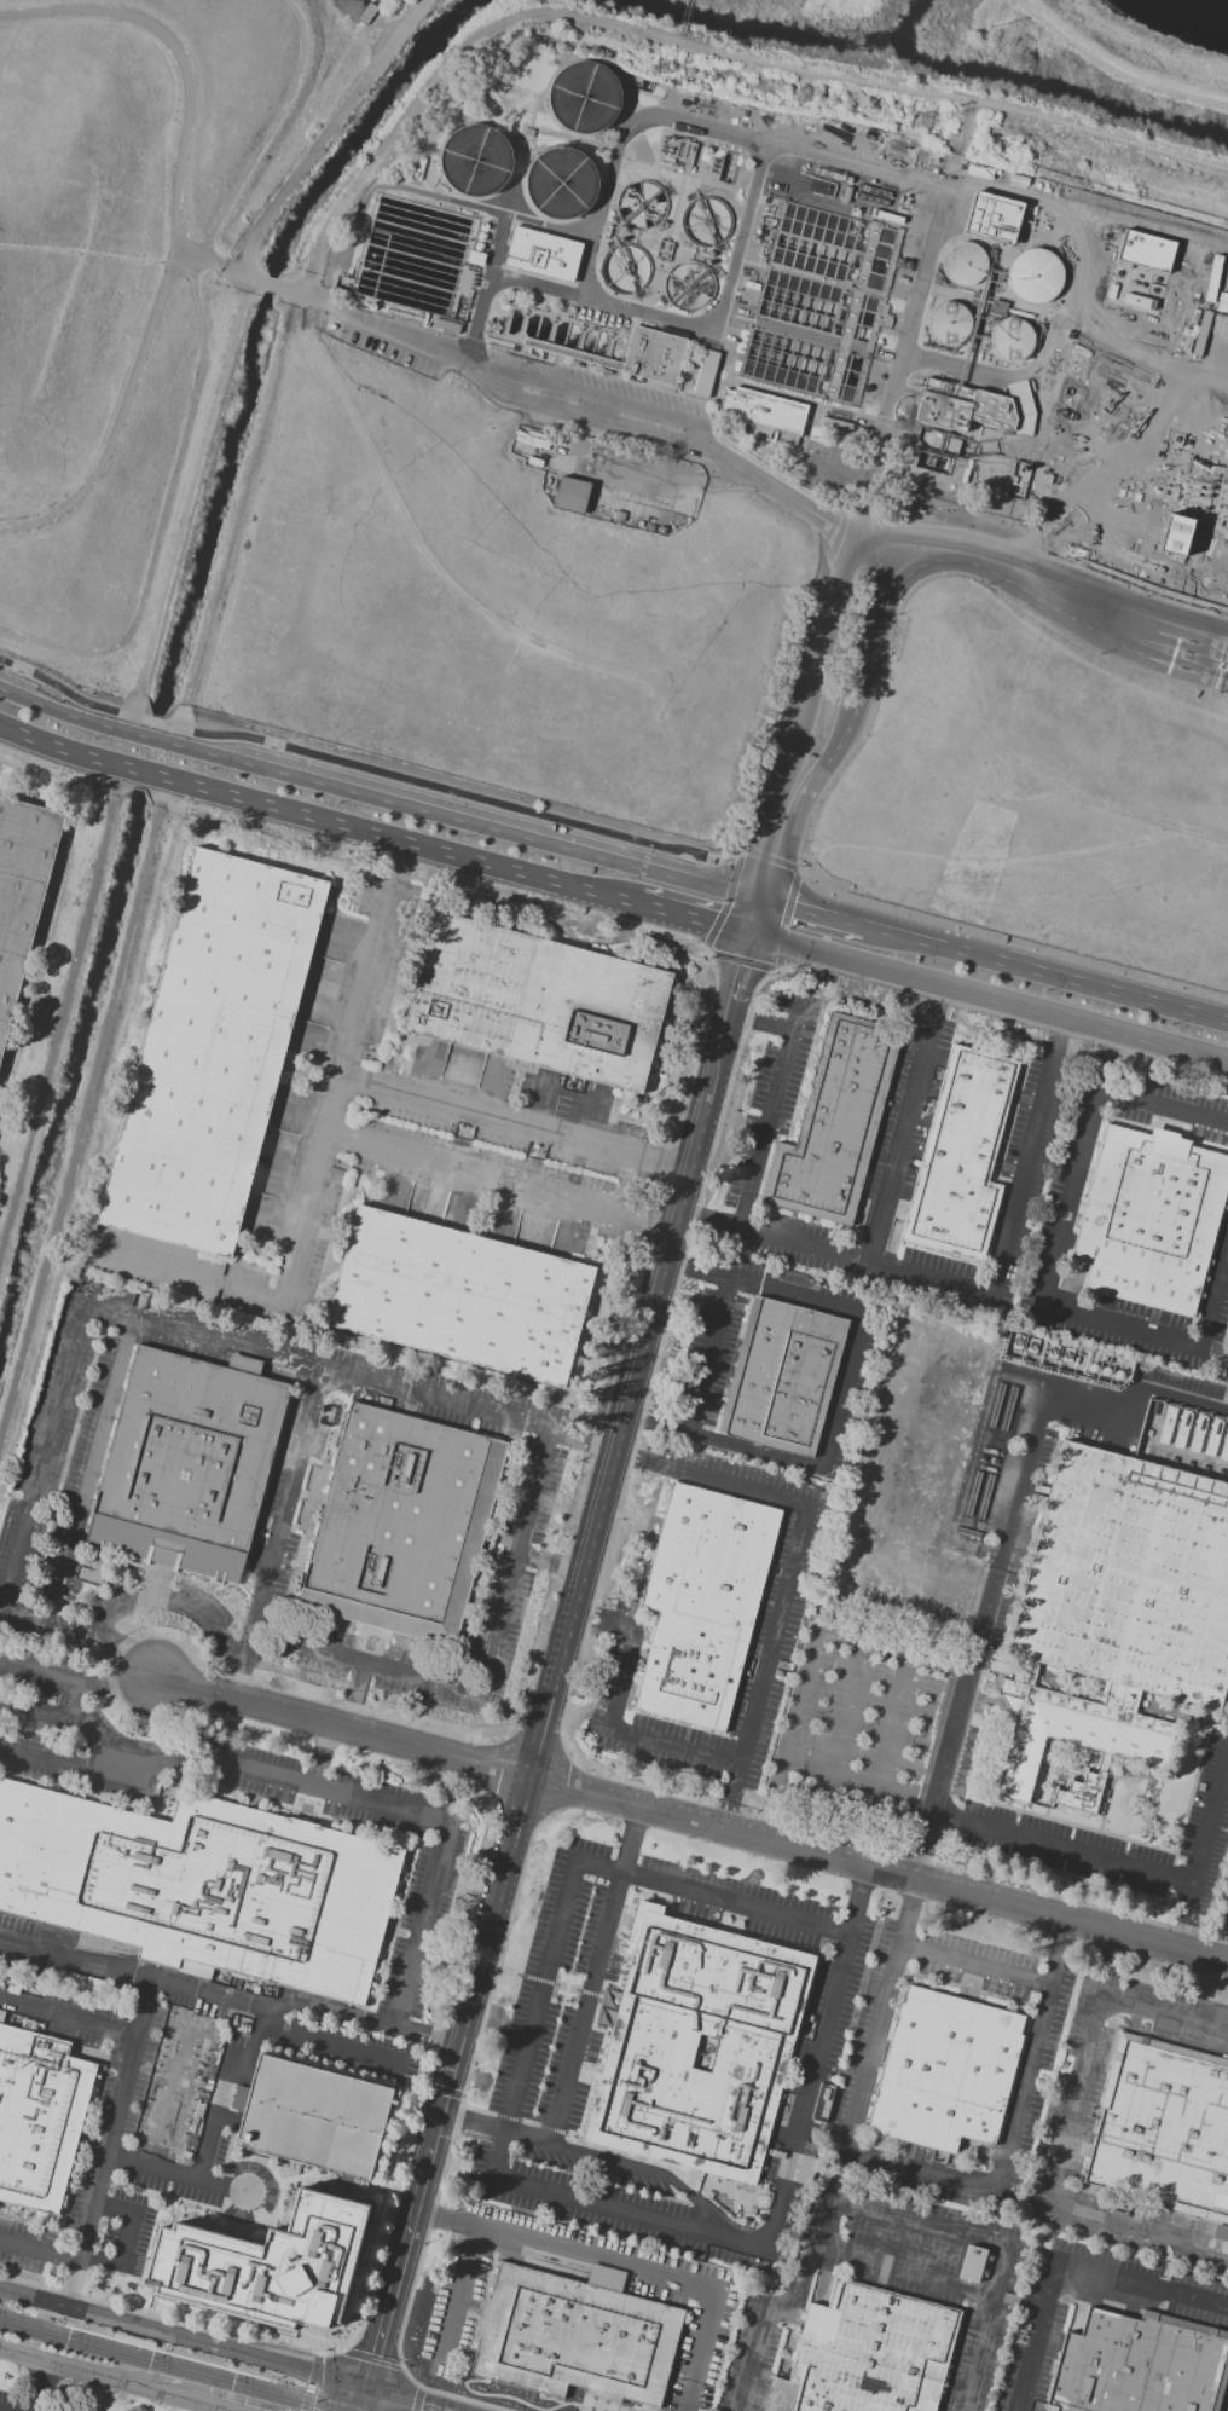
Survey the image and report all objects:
road: (693, 45)
road: (180, 60)
road: (1118, 68)
power tower: (928, 125)
road: (331, 132)
building: (848, 139)
building: (898, 155)
road: (247, 158)
road: (868, 167)
building: (994, 218)
building: (697, 229)
road: (500, 232)
road: (572, 233)
road: (86, 248)
building: (1143, 250)
building: (543, 254)
road: (183, 262)
building: (963, 264)
storage tank: (963, 264)
road: (254, 274)
building: (1033, 276)
storage tank: (1033, 276)
road: (270, 284)
road: (292, 294)
wastewater plant: (832, 296)
road: (320, 306)
building: (948, 324)
storage tank: (948, 324)
road: (694, 325)
road: (1053, 328)
road: (400, 335)
building: (1010, 342)
storage tank: (1010, 342)
building: (633, 354)
parking lot: (392, 359)
road: (968, 369)
building: (705, 371)
road: (593, 394)
building: (974, 406)
building: (760, 411)
road: (583, 415)
road: (115, 421)
road: (937, 449)
road: (838, 470)
road: (661, 475)
building: (570, 496)
road: (190, 498)
road: (236, 516)
road: (163, 520)
road: (858, 537)
landfill: (537, 547)
road: (421, 550)
road: (871, 568)
road: (1032, 578)
road: (822, 648)
road: (1157, 654)
road: (129, 666)
road: (857, 695)
road: (63, 704)
road: (157, 732)
road: (58, 750)
road: (376, 770)
road: (145, 775)
road: (471, 816)
road: (771, 823)
road: (401, 845)
traffic signals: (761, 852)
road: (401, 863)
building: (19, 894)
traffic signals: (794, 902)
road: (812, 906)
road: (751, 914)
road: (688, 921)
traffic signals: (712, 927)
traffic signals: (745, 937)
traffic signals: (737, 966)
road: (736, 967)
road: (1048, 967)
road: (986, 999)
building: (535, 1001)
road: (937, 1001)
road: (758, 1021)
road: (1059, 1035)
building: (210, 1052)
road: (1101, 1058)
road: (81, 1106)
road: (329, 1109)
road: (767, 1115)
road: (1084, 1124)
building: (835, 1126)
road: (899, 1137)
building: (958, 1157)
road: (1026, 1166)
road: (705, 1220)
building: (1146, 1224)
road: (799, 1247)
road: (932, 1276)
road: (790, 1294)
building: (458, 1295)
road: (1216, 1301)
road: (1123, 1322)
road: (707, 1355)
building: (783, 1376)
road: (840, 1388)
road: (1076, 1395)
road: (1186, 1395)
road: (720, 1440)
road: (978, 1455)
road: (636, 1459)
building: (186, 1462)
road: (732, 1487)
building: (400, 1521)
road: (980, 1543)
road: (578, 1573)
building: (1120, 1598)
building: (703, 1606)
road: (602, 1614)
road: (983, 1635)
road: (769, 1648)
road: (897, 1653)
road: (621, 1679)
road: (82, 1683)
road: (847, 1694)
road: (894, 1708)
road: (40, 1712)
road: (799, 1715)
road: (346, 1729)
road: (673, 1748)
road: (886, 1762)
road: (64, 1763)
road: (239, 1767)
road: (131, 1770)
road: (861, 1787)
building: (1084, 1794)
road: (728, 1809)
road: (770, 1820)
road: (630, 1839)
road: (1068, 1844)
road: (1205, 1864)
road: (876, 1871)
building: (203, 1887)
road: (862, 1889)
road: (713, 1895)
road: (911, 1904)
road: (419, 1929)
road: (1059, 1945)
road: (1224, 1949)
road: (1111, 1952)
road: (974, 1964)
road: (131, 1976)
road: (586, 2007)
building: (607, 2007)
building: (0, 2014)
road: (1163, 2014)
road: (68, 2017)
road: (535, 2017)
road: (359, 2018)
road: (874, 2039)
building: (643, 2052)
road: (815, 2064)
building: (946, 2071)
road: (1023, 2081)
road: (1077, 2081)
road: (222, 2088)
building: (313, 2117)
building: (40, 2120)
road: (114, 2121)
road: (454, 2129)
building: (1163, 2129)
road: (152, 2167)
road: (642, 2169)
road: (919, 2172)
road: (112, 2208)
road: (635, 2215)
road: (920, 2224)
road: (1135, 2224)
road: (827, 2225)
building: (1220, 2234)
road: (126, 2239)
road: (39, 2249)
road: (98, 2260)
building: (971, 2263)
building: (257, 2267)
road: (396, 2268)
road: (620, 2268)
road: (906, 2273)
road: (70, 2284)
road: (798, 2285)
road: (1142, 2285)
road: (457, 2293)
road: (984, 2329)
road: (1037, 2337)
building: (575, 2338)
building: (133, 2341)
road: (183, 2341)
road: (334, 2353)
building: (868, 2354)
road: (371, 2359)
road: (751, 2359)
railway: (180, 2361)
building: (1141, 2365)
railway: (161, 2367)
road: (79, 2370)
railway: (270, 2370)
road: (290, 2381)
road: (311, 2381)
road: (46, 2387)
traffic signals: (366, 2389)
road: (417, 2399)
road: (364, 2400)
road: (405, 2400)
road: (192, 2401)

